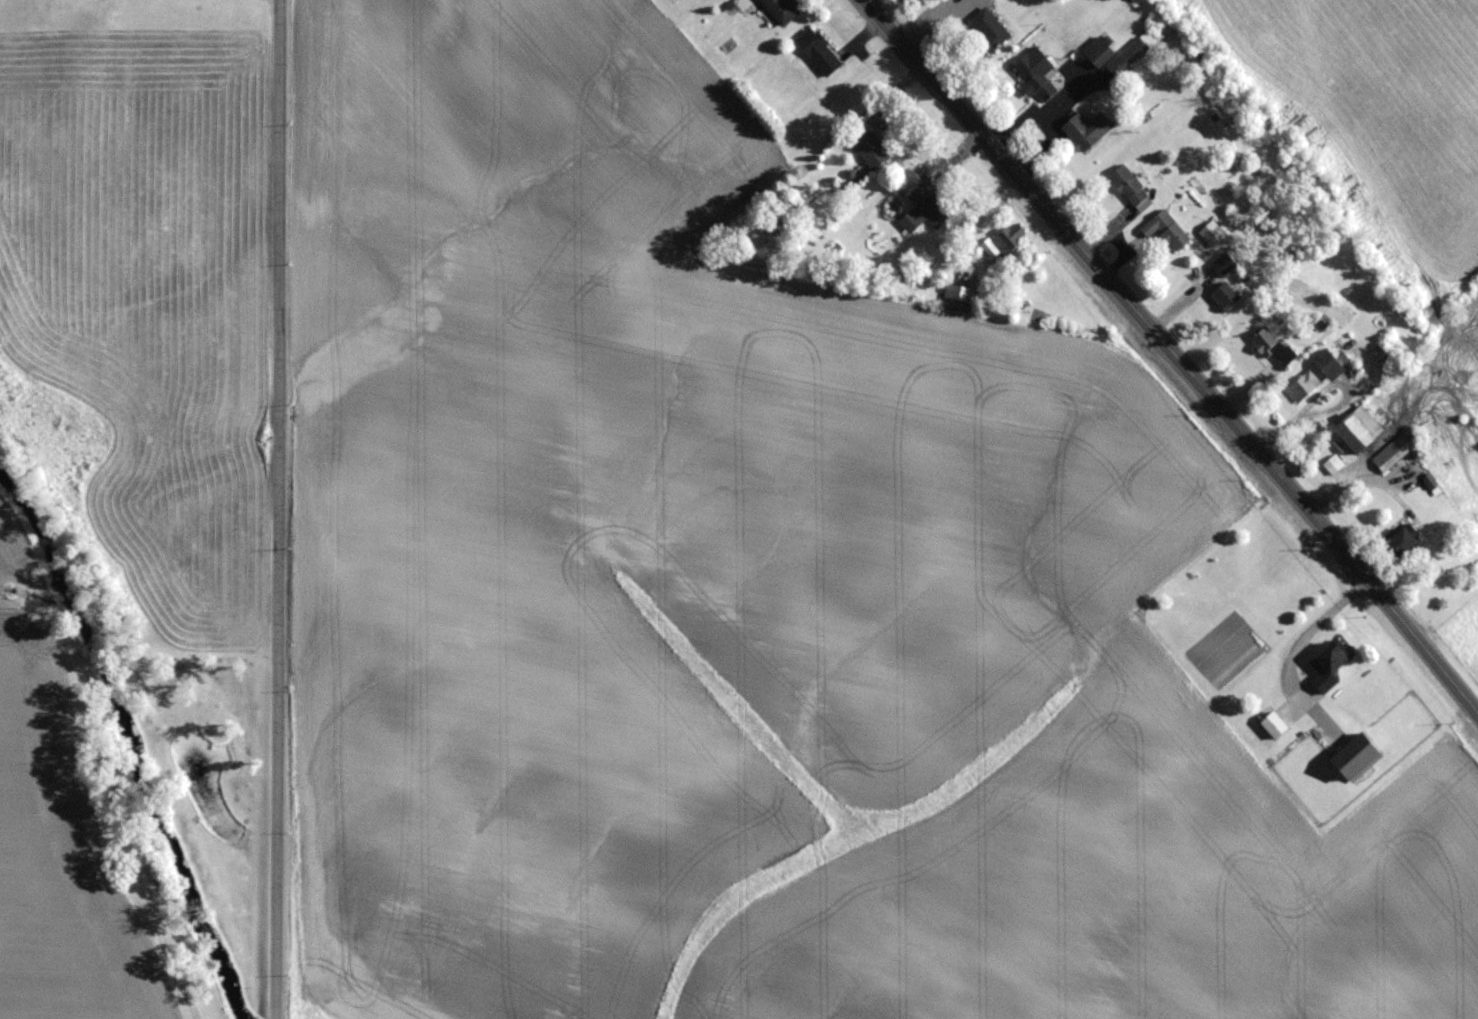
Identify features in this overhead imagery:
crop: (142, 303)
road: (1174, 355)
road: (275, 509)
crop: (757, 599)
crop: (55, 830)

